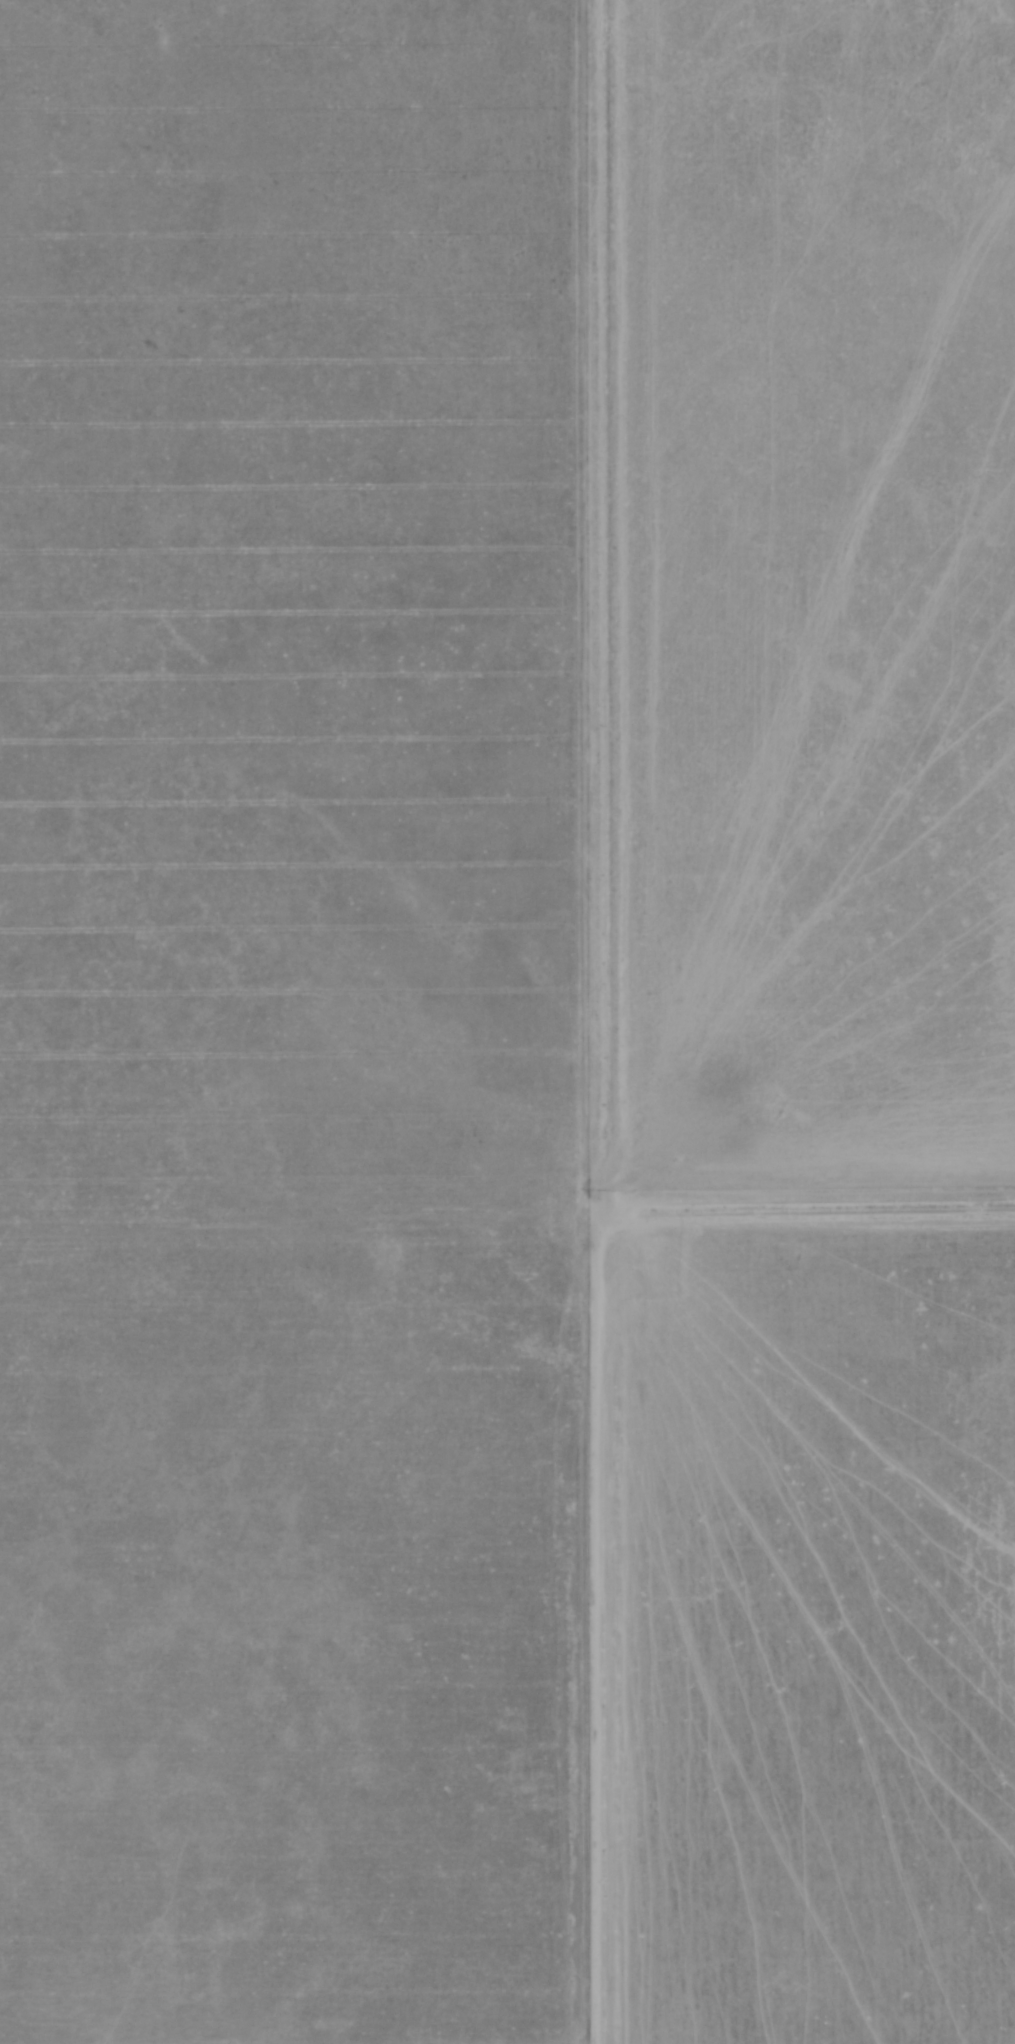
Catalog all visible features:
crop: (810, 1618)

